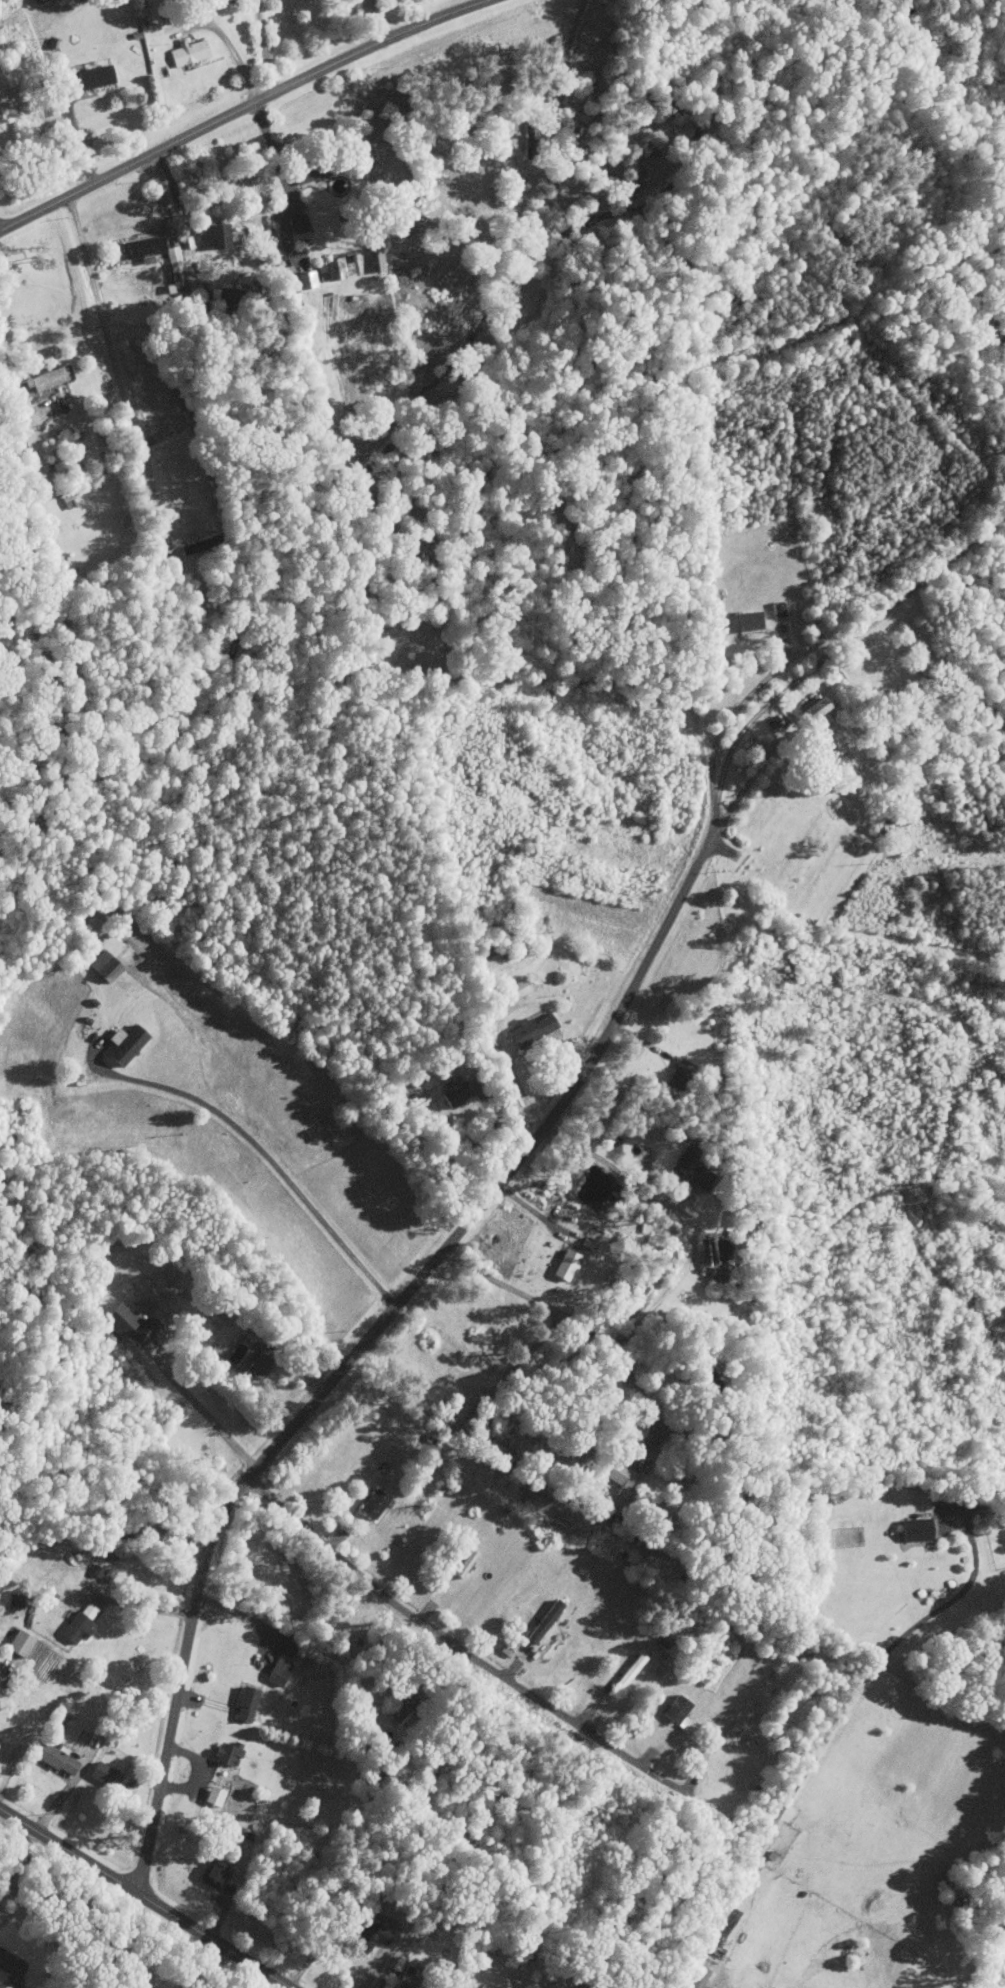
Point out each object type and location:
road: (264, 47)
building: (187, 53)
road: (236, 55)
road: (564, 60)
building: (93, 77)
road: (243, 111)
road: (76, 137)
building: (306, 173)
building: (639, 174)
road: (287, 182)
building: (296, 224)
building: (210, 236)
building: (143, 249)
building: (374, 257)
building: (338, 268)
building: (174, 271)
building: (302, 280)
road: (114, 364)
building: (47, 379)
building: (738, 623)
road: (854, 631)
road: (728, 717)
building: (109, 965)
building: (535, 1031)
building: (130, 1044)
building: (458, 1095)
road: (267, 1160)
road: (623, 1176)
building: (570, 1265)
road: (388, 1315)
building: (133, 1325)
road: (601, 1338)
building: (262, 1367)
road: (407, 1380)
road: (212, 1421)
building: (377, 1504)
building: (921, 1530)
road: (90, 1563)
building: (105, 1573)
building: (18, 1601)
road: (240, 1615)
building: (84, 1622)
building: (23, 1643)
road: (458, 1648)
building: (1, 1666)
building: (634, 1670)
building: (281, 1672)
building: (251, 1705)
building: (681, 1709)
road: (824, 1741)
building: (231, 1756)
building: (60, 1760)
building: (109, 1776)
road: (68, 1790)
building: (217, 1877)
road: (144, 1899)
building: (384, 1936)
road: (331, 1938)
road: (112, 1943)
road: (401, 1948)
building: (12, 1965)
building: (409, 1984)

